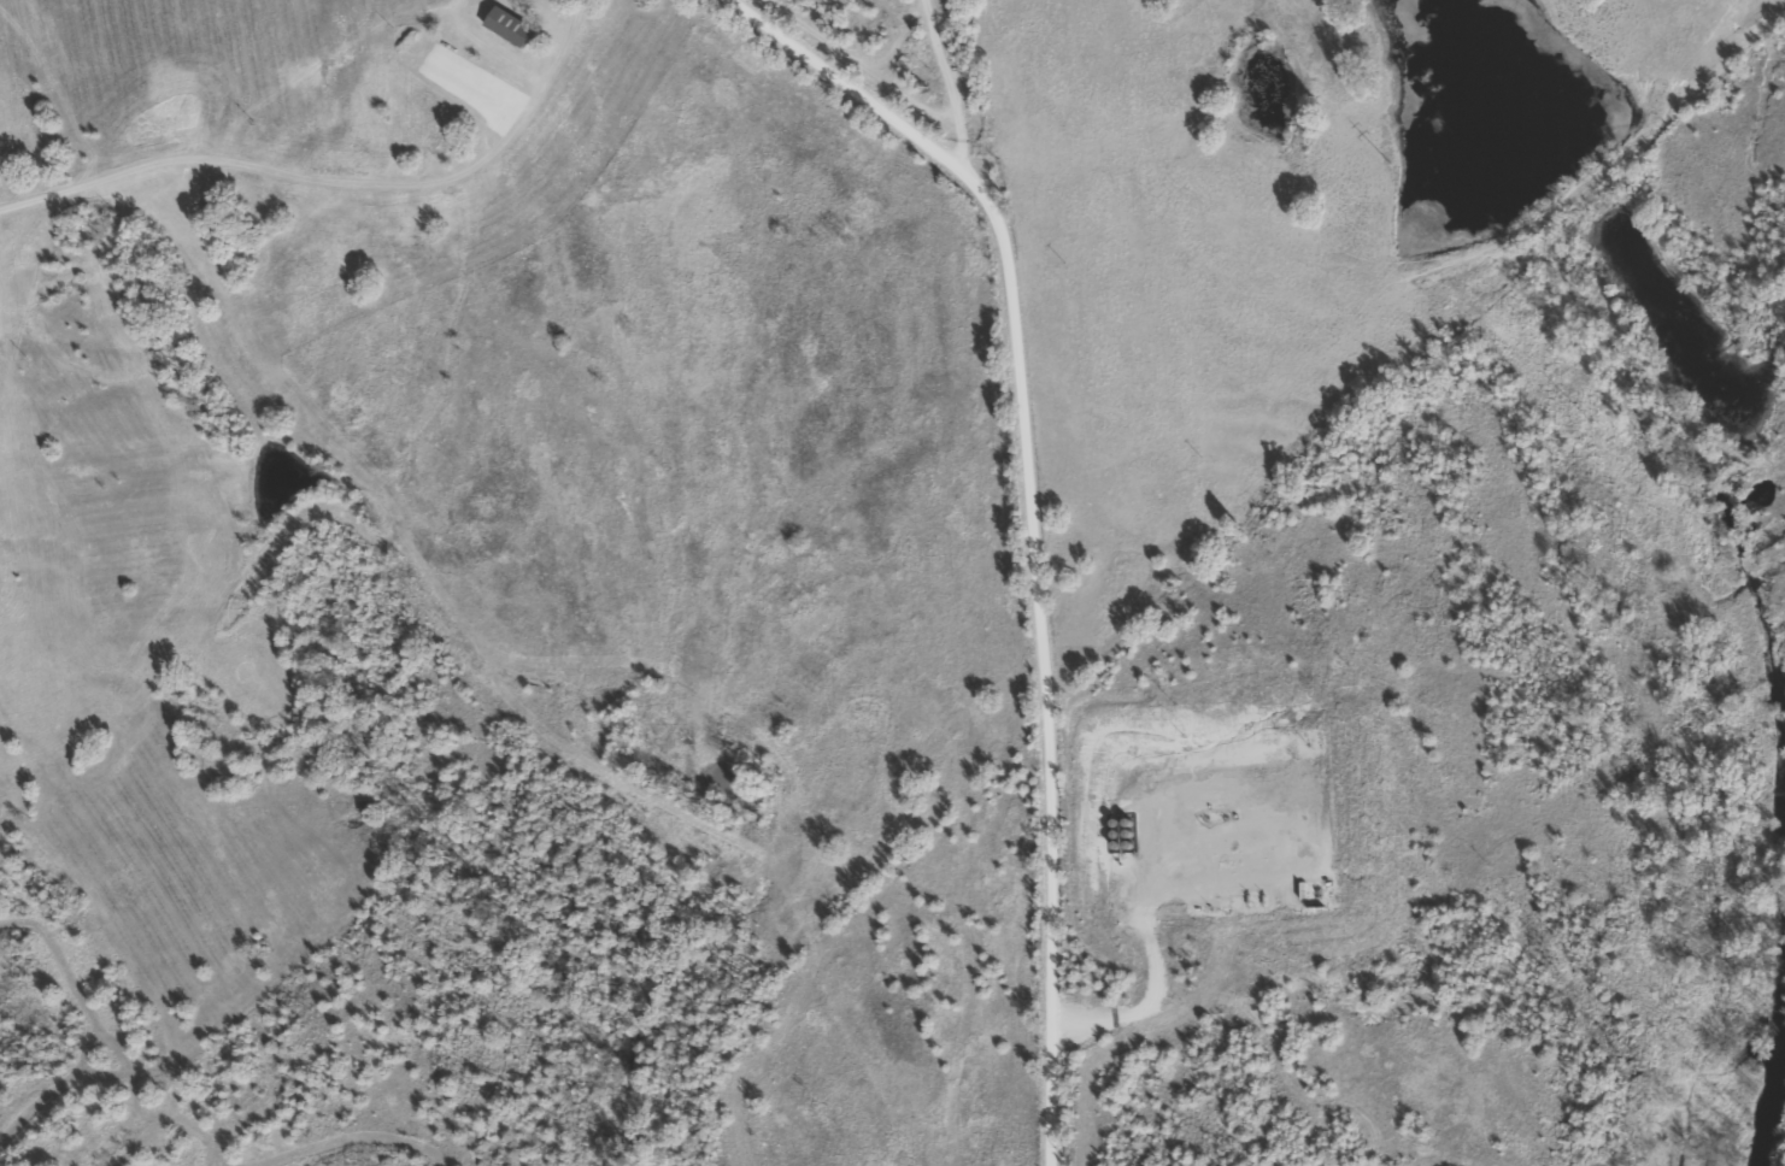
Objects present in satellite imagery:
building: (506, 25)
road: (1028, 513)
road: (1165, 996)

